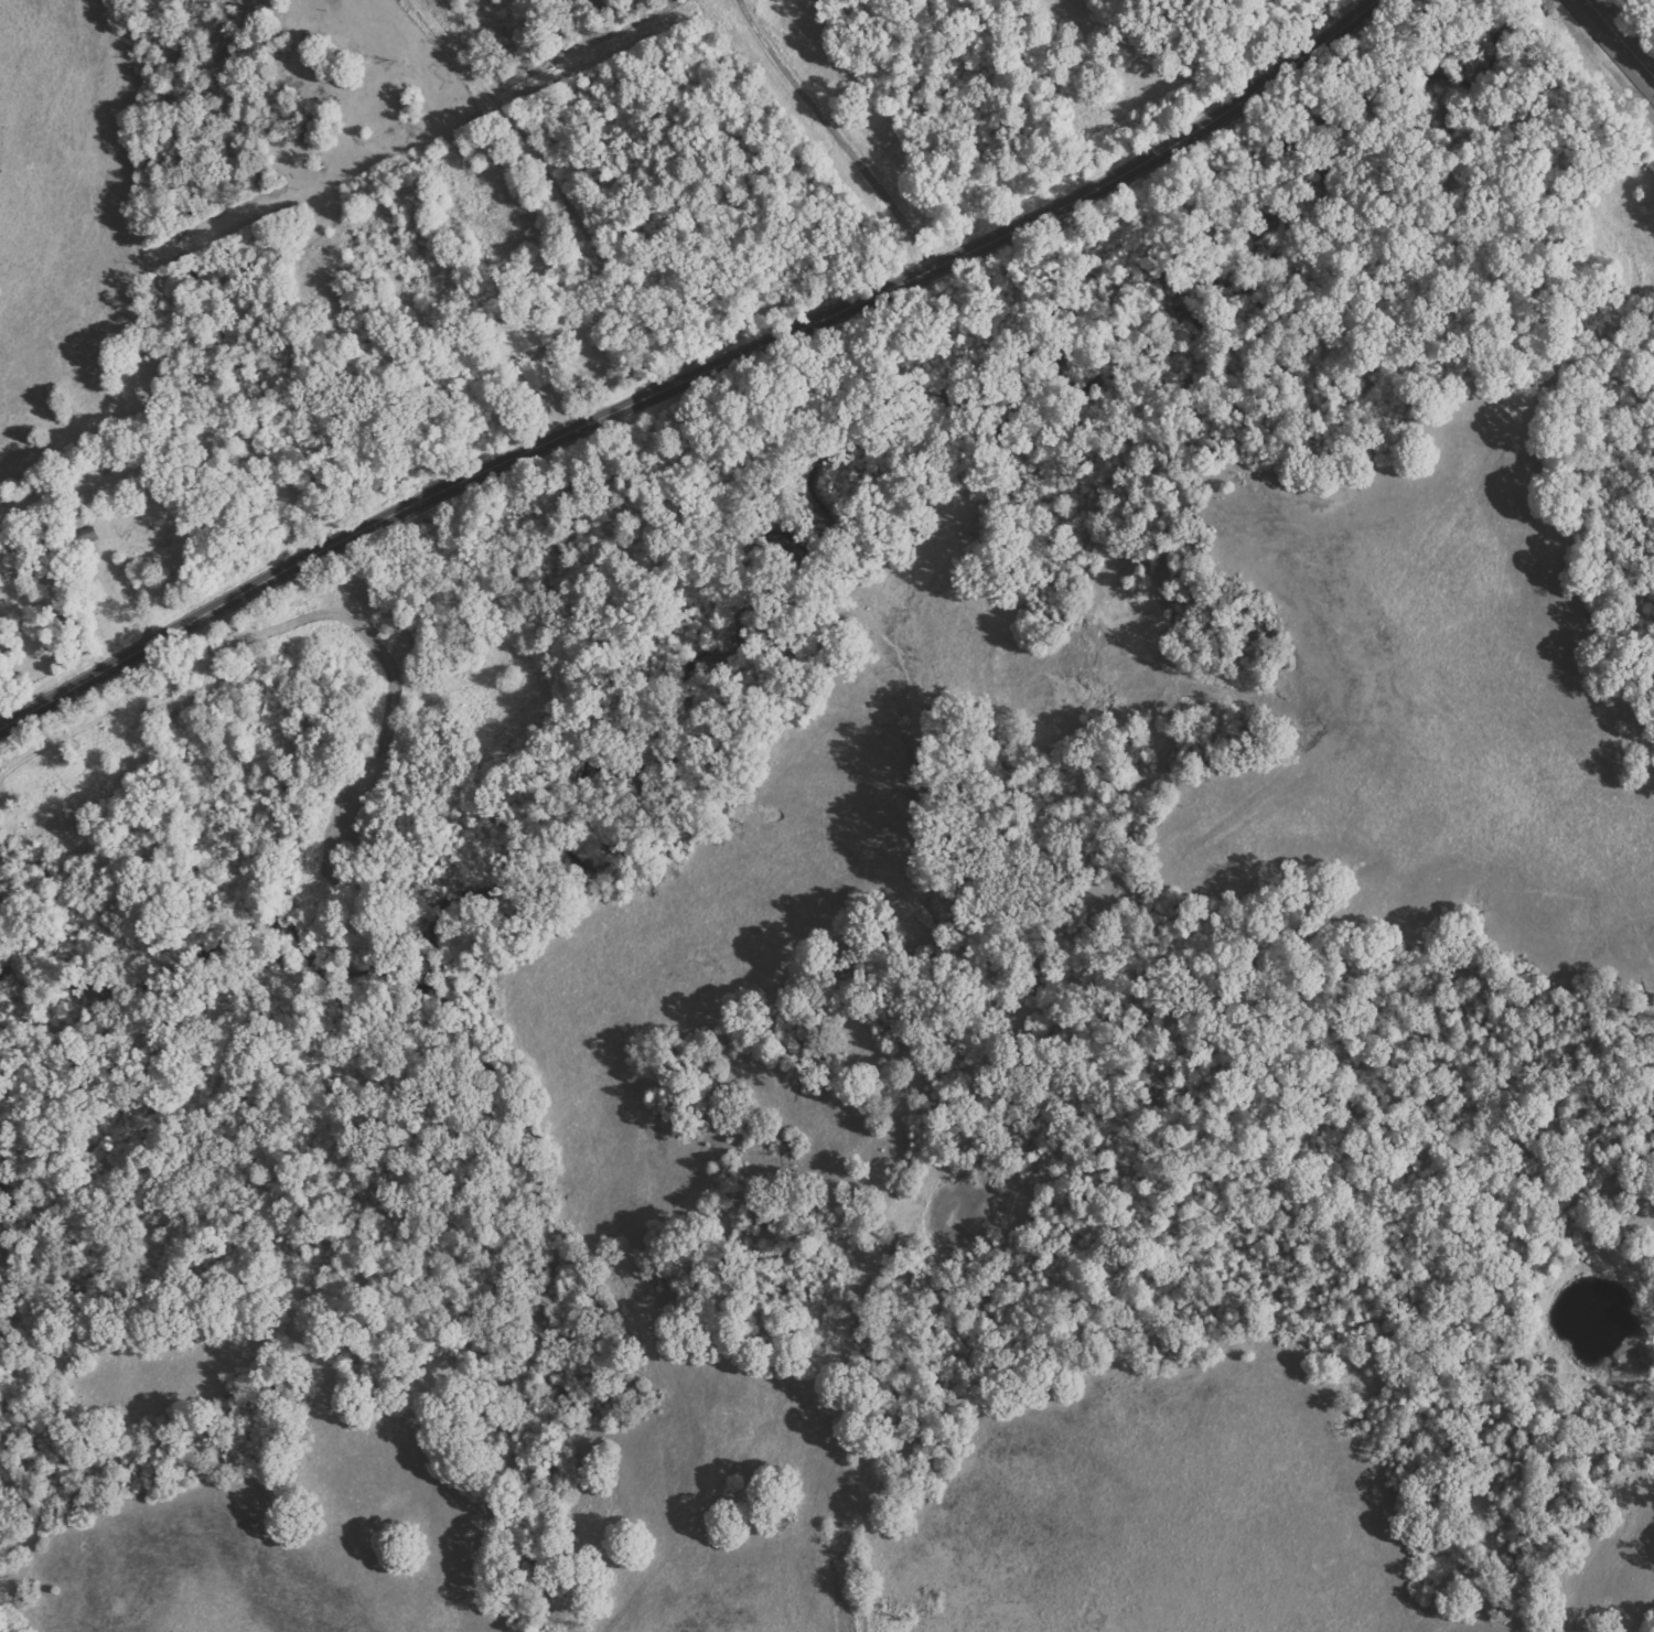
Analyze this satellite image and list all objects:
road: (1611, 47)
building: (539, 375)
road: (700, 377)
road: (4, 713)

